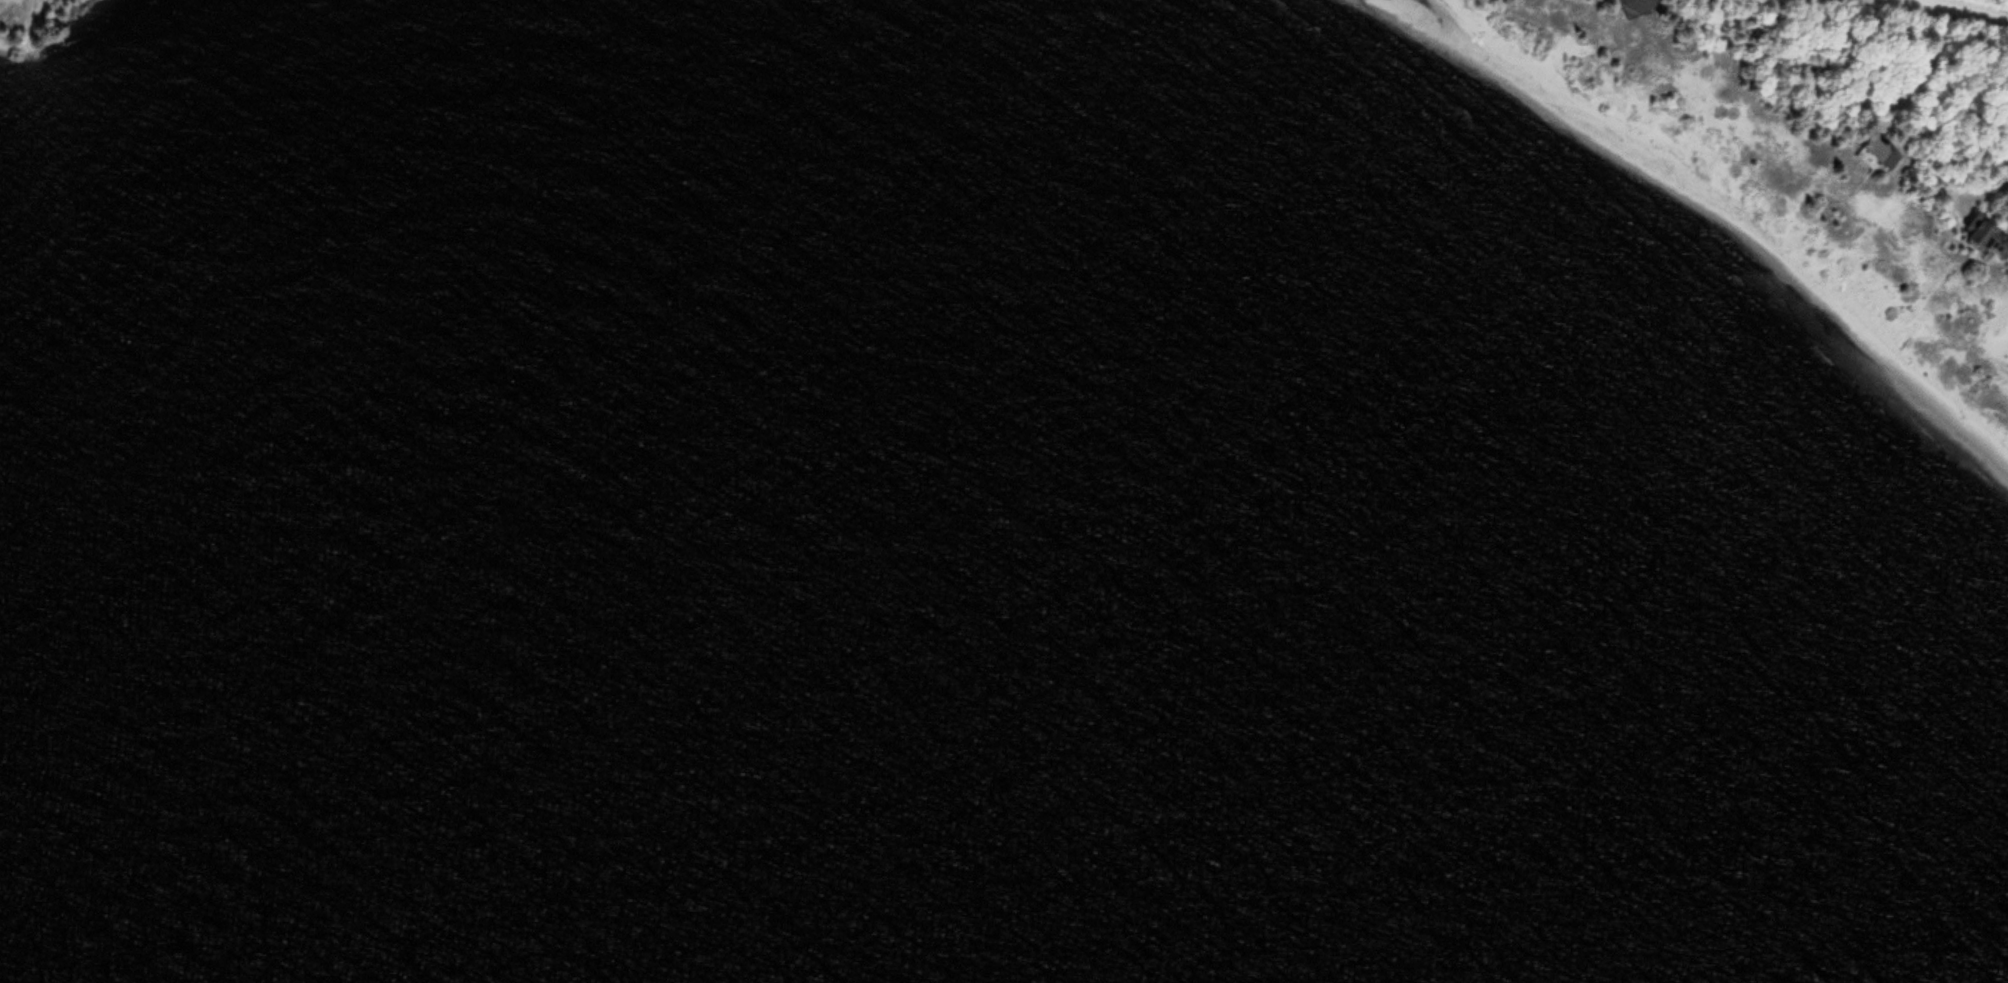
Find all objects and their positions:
building: (1640, 5)
road: (1941, 10)
building: (1882, 151)
building: (1988, 233)

